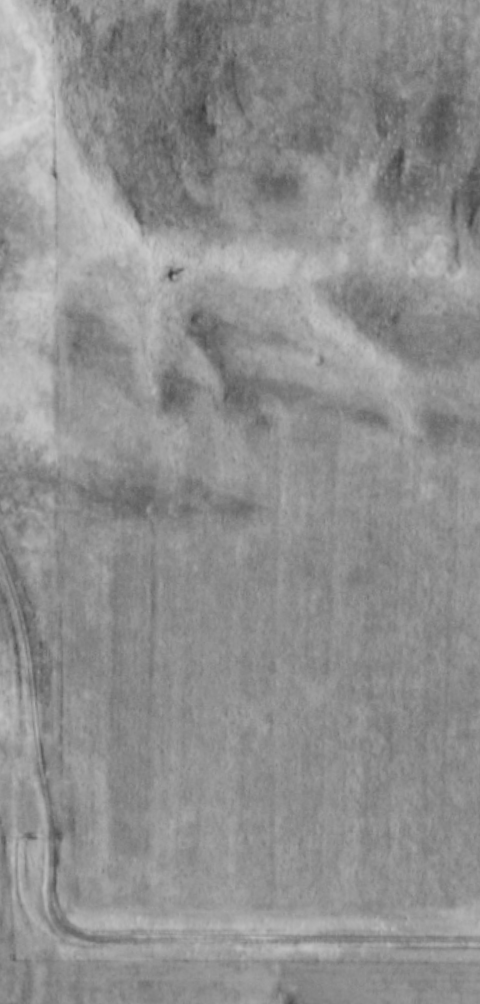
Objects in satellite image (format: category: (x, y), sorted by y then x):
road: (28, 726)
road: (246, 939)

